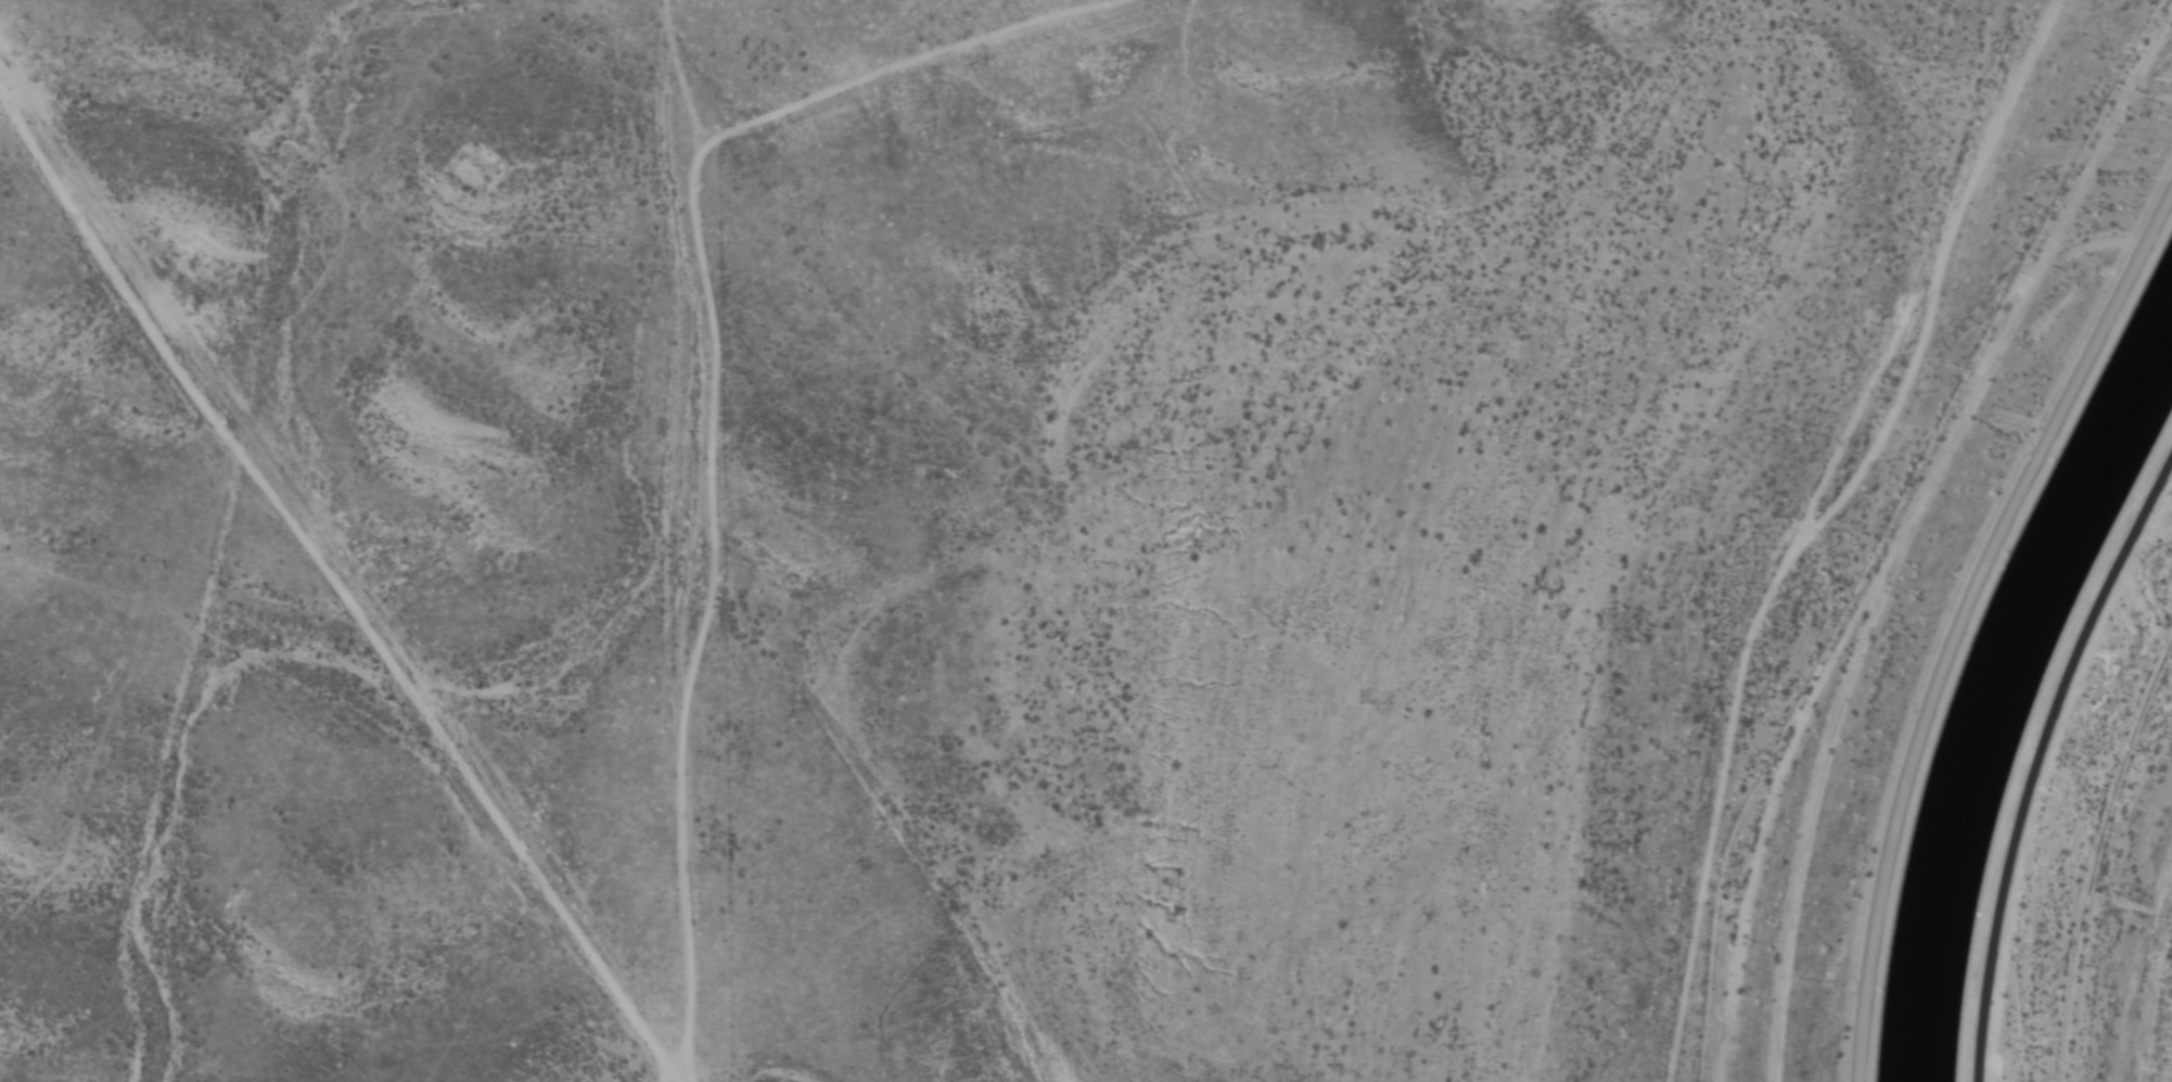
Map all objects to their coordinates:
road: (203, 436)
crop: (350, 519)
road: (712, 537)
road: (1960, 619)
road: (396, 754)
road: (2039, 760)
road: (918, 812)

